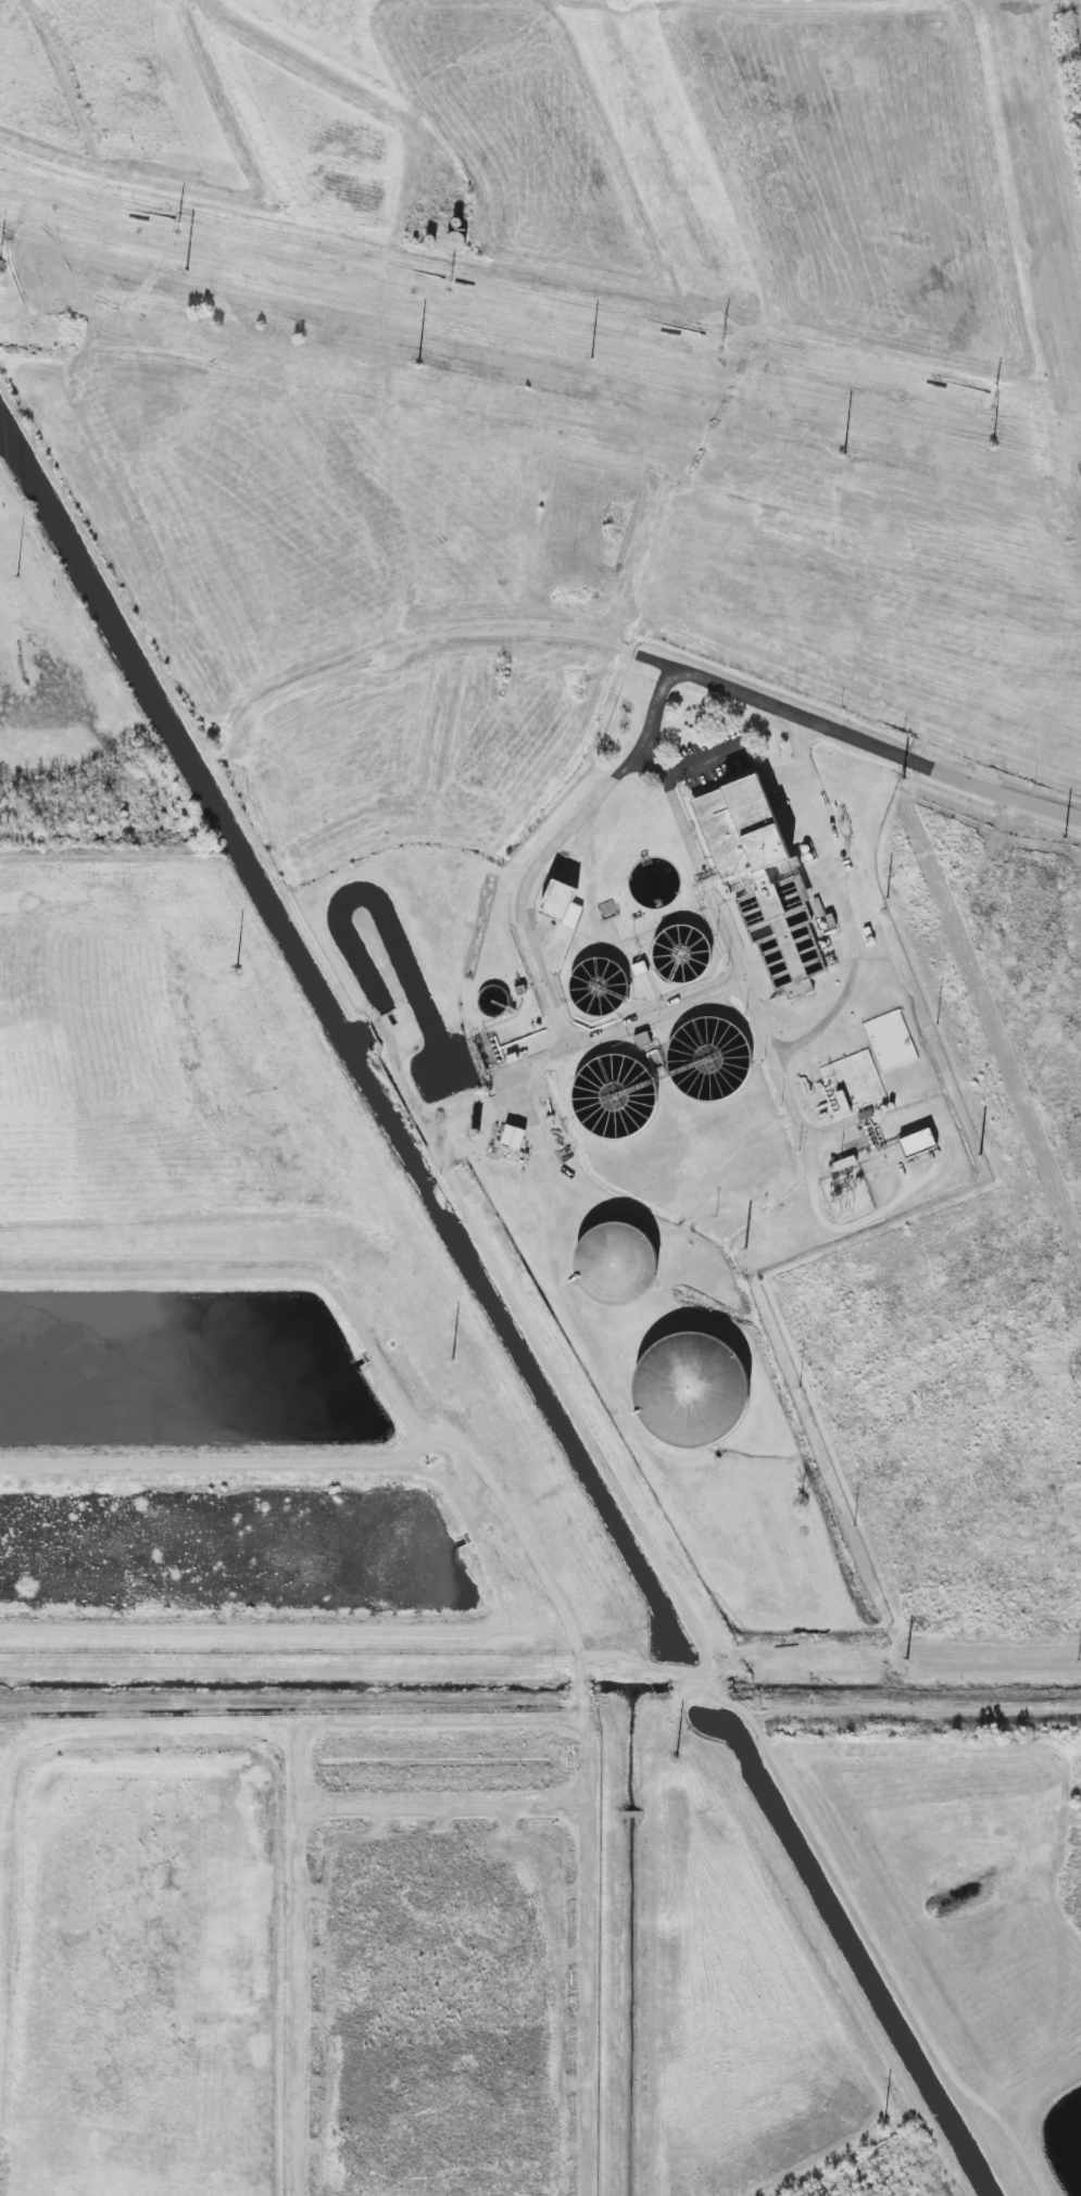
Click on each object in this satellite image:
power tower: (178, 229)
power tower: (448, 287)
power tower: (721, 347)
power tower: (994, 403)
road: (649, 738)
road: (898, 757)
building: (744, 838)
road: (703, 878)
building: (562, 904)
road: (537, 965)
road: (852, 971)
road: (757, 1017)
building: (852, 1083)
building: (514, 1137)
building: (918, 1143)
power substation: (845, 1195)
building: (617, 1263)
building: (697, 1388)

